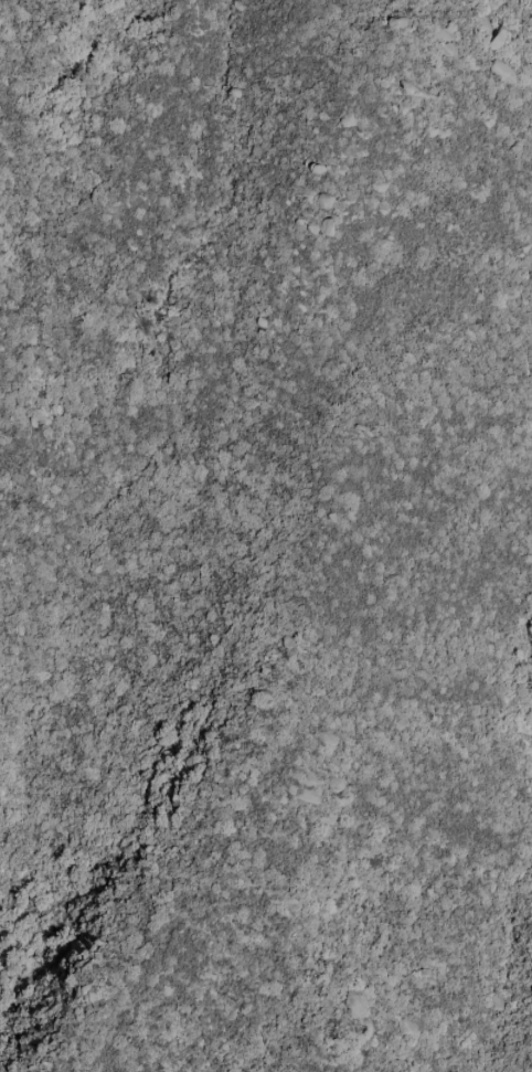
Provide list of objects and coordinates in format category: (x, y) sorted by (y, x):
building: (500, 67)
building: (324, 200)
building: (328, 226)

